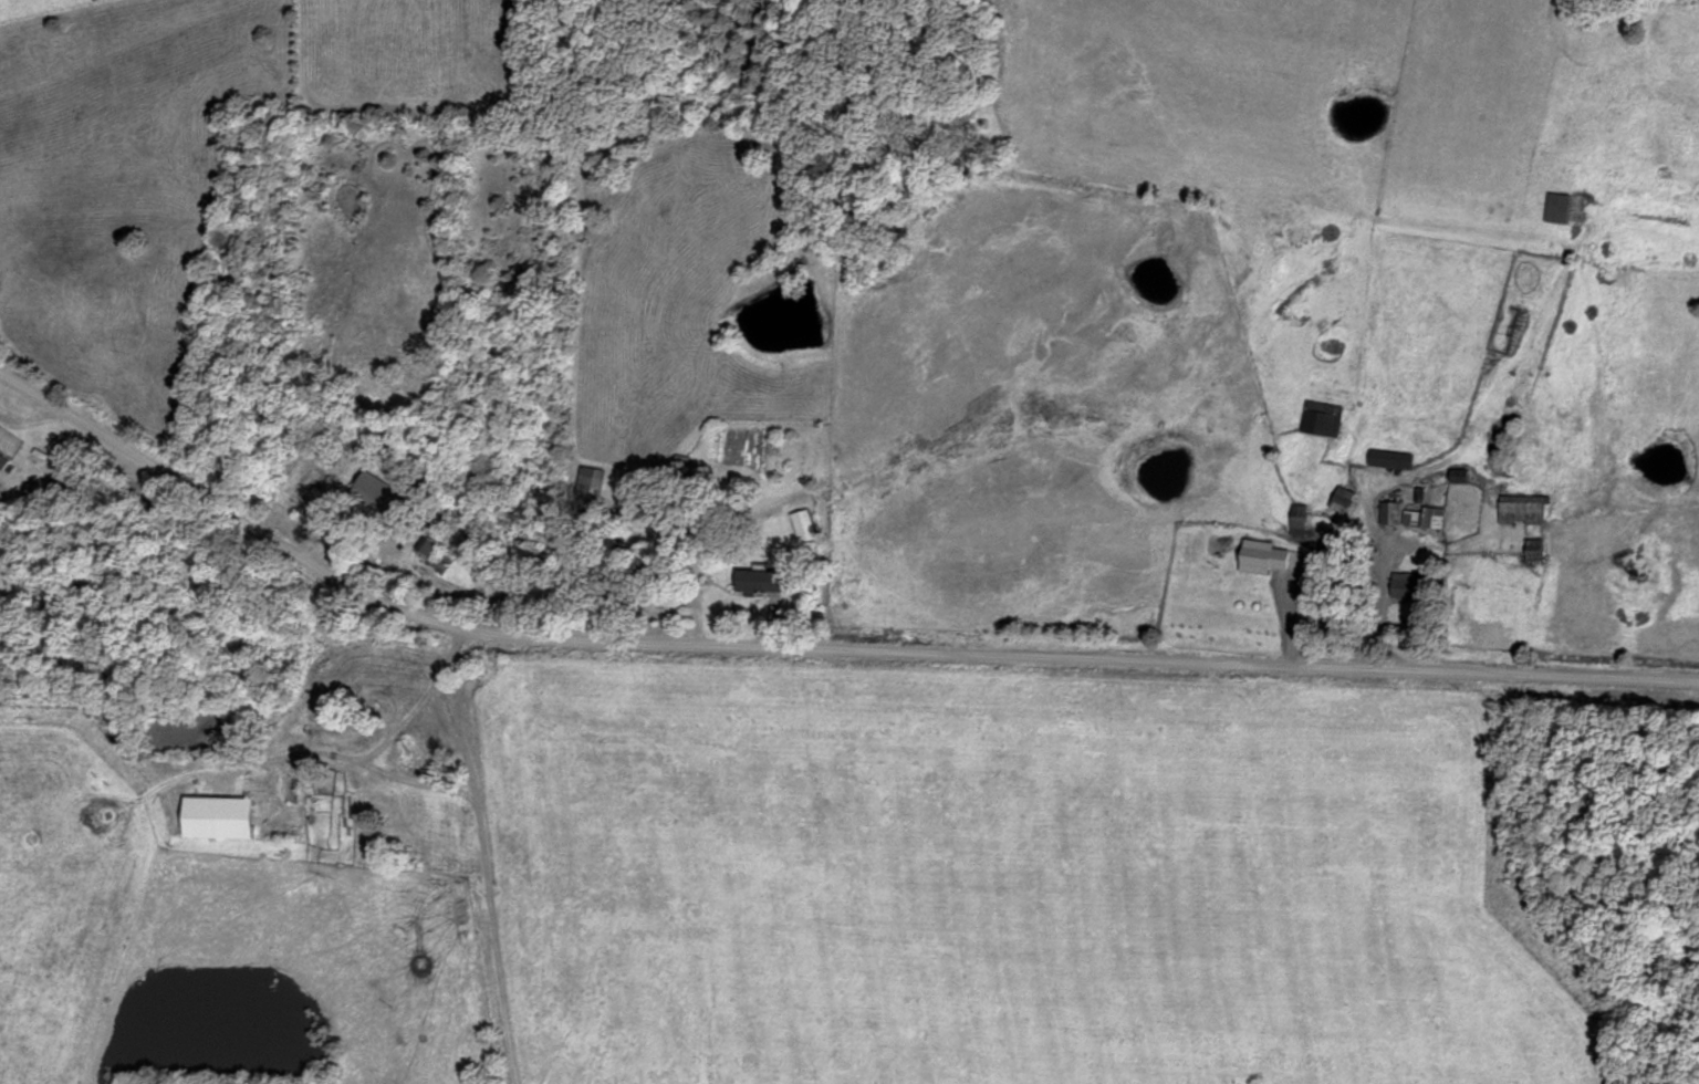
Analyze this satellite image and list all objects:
building: (1560, 207)
building: (1323, 417)
building: (1391, 458)
building: (3, 461)
building: (588, 481)
building: (377, 489)
building: (1344, 498)
building: (1523, 508)
building: (1390, 511)
building: (803, 524)
building: (1536, 548)
building: (1265, 555)
building: (760, 581)
building: (1409, 584)
building: (669, 596)
road: (815, 639)
building: (294, 789)
building: (241, 794)
building: (417, 820)

